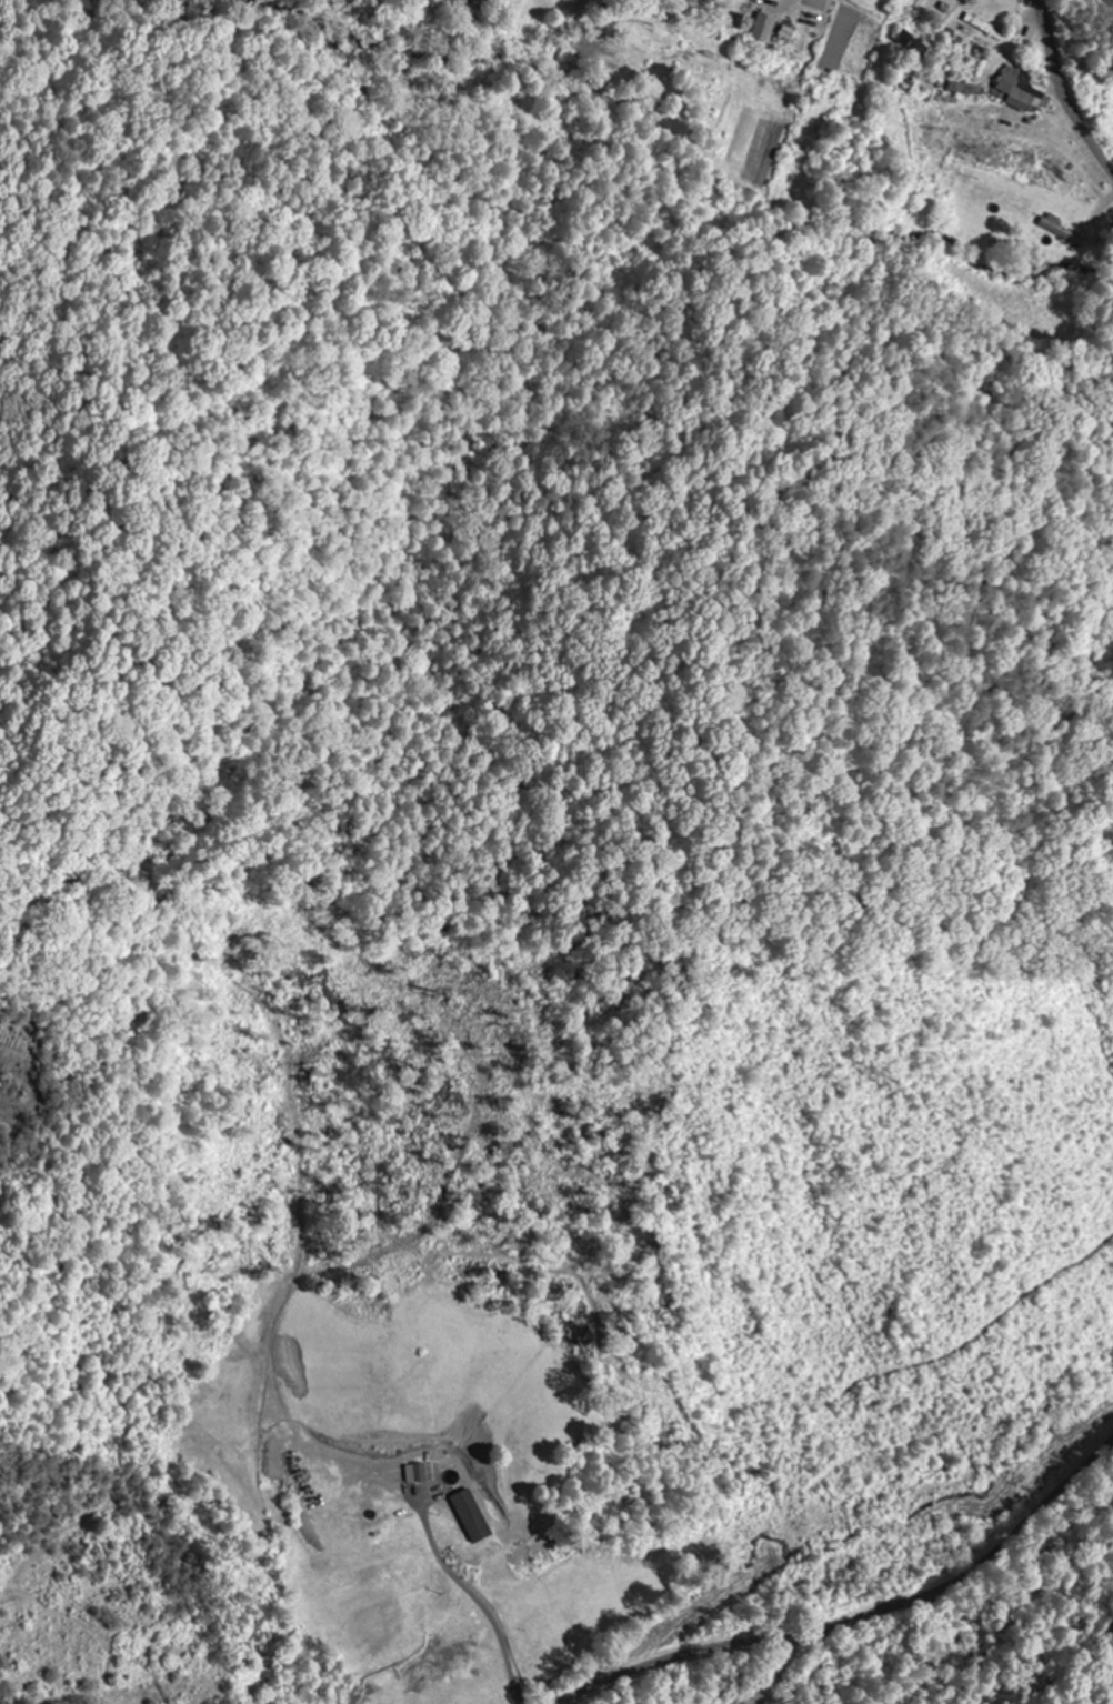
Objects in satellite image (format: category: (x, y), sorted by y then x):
building: (765, 28)
building: (914, 44)
building: (967, 90)
building: (1020, 91)
road: (1064, 91)
building: (473, 1516)
road: (864, 1620)
road: (646, 1660)

